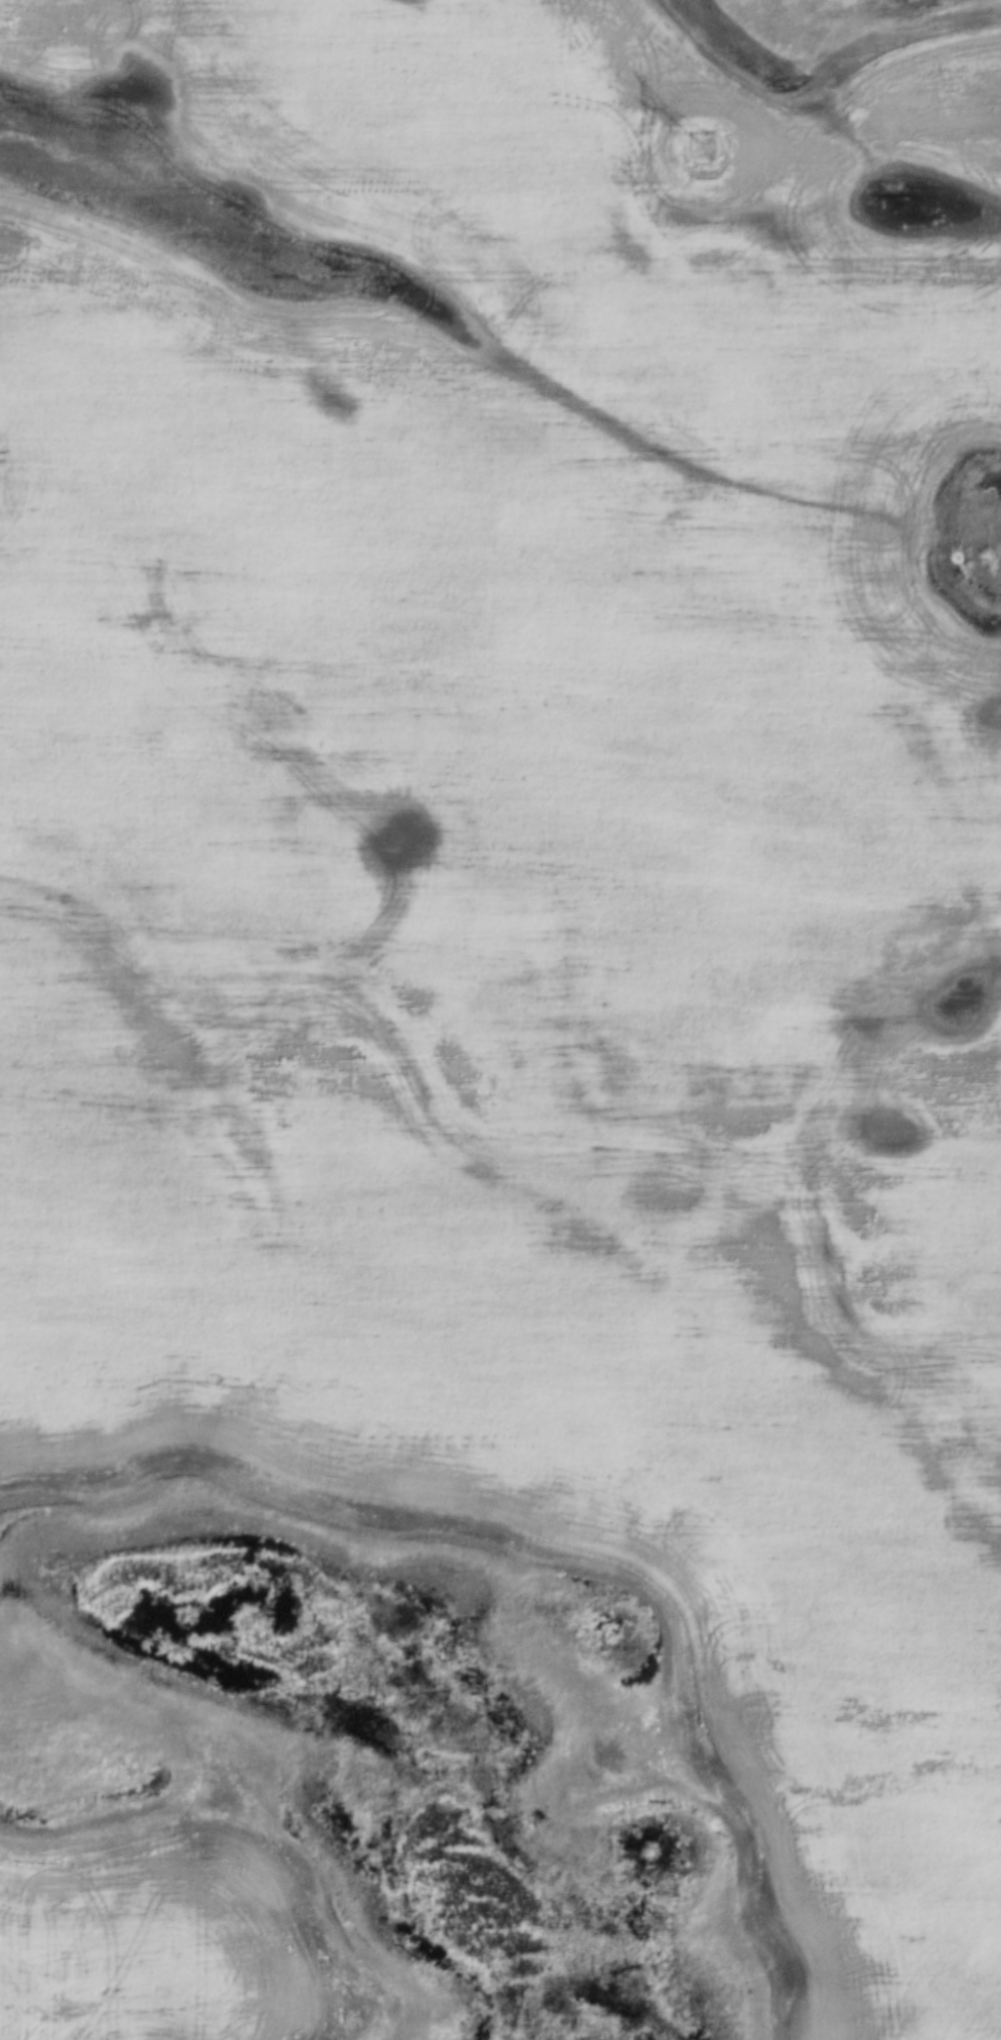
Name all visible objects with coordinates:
power tower: (701, 147)

